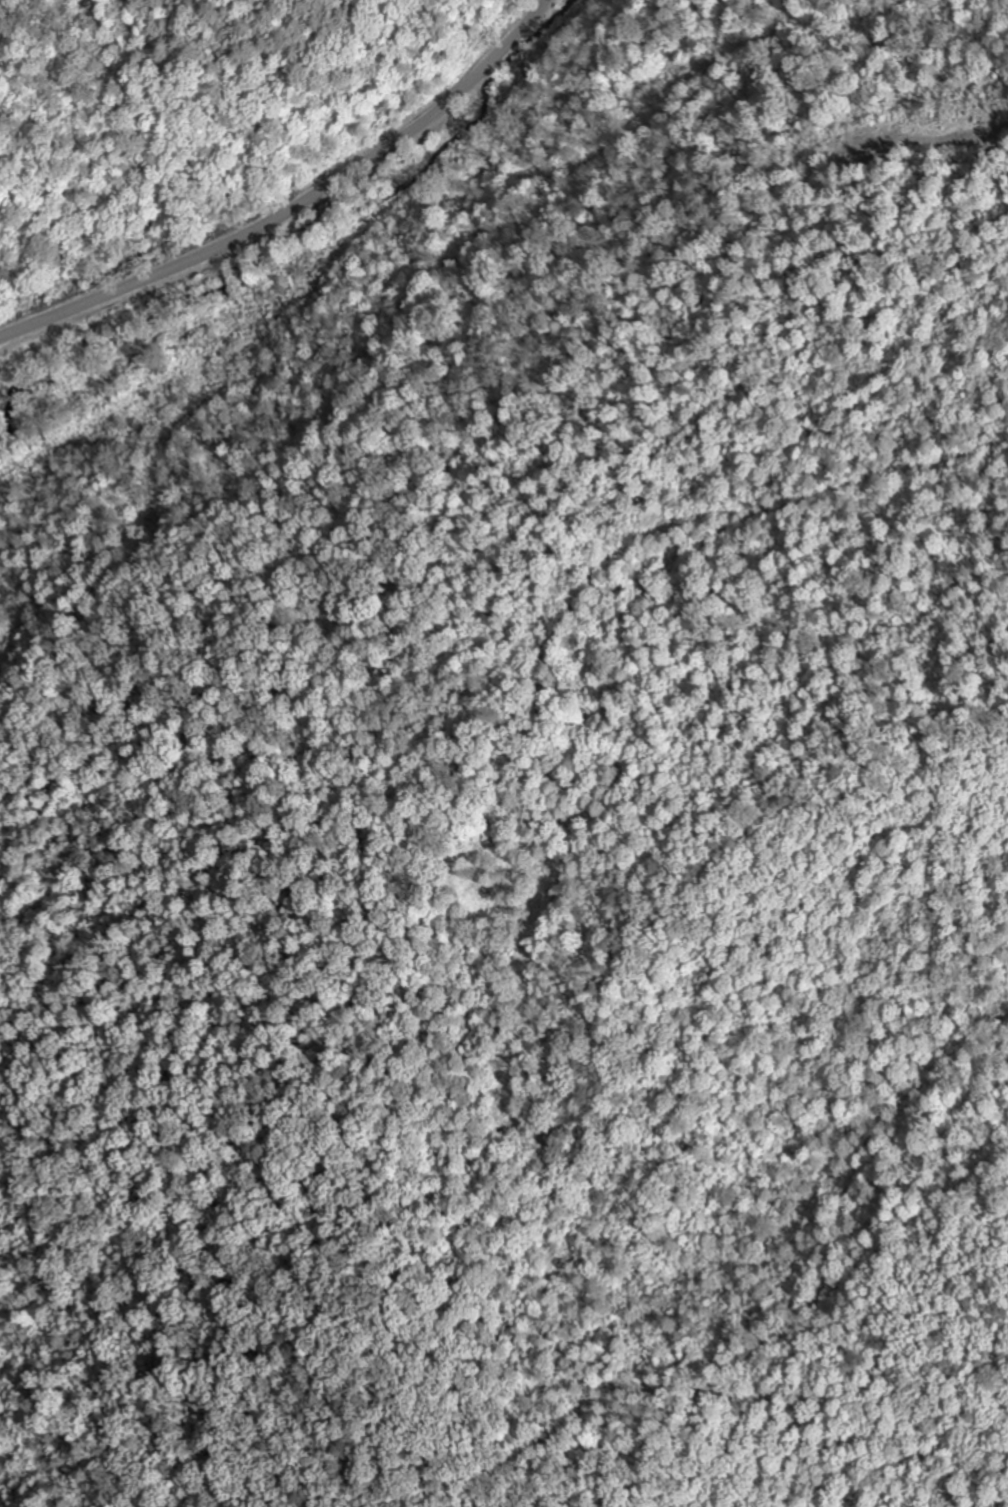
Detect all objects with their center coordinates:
road: (297, 205)

